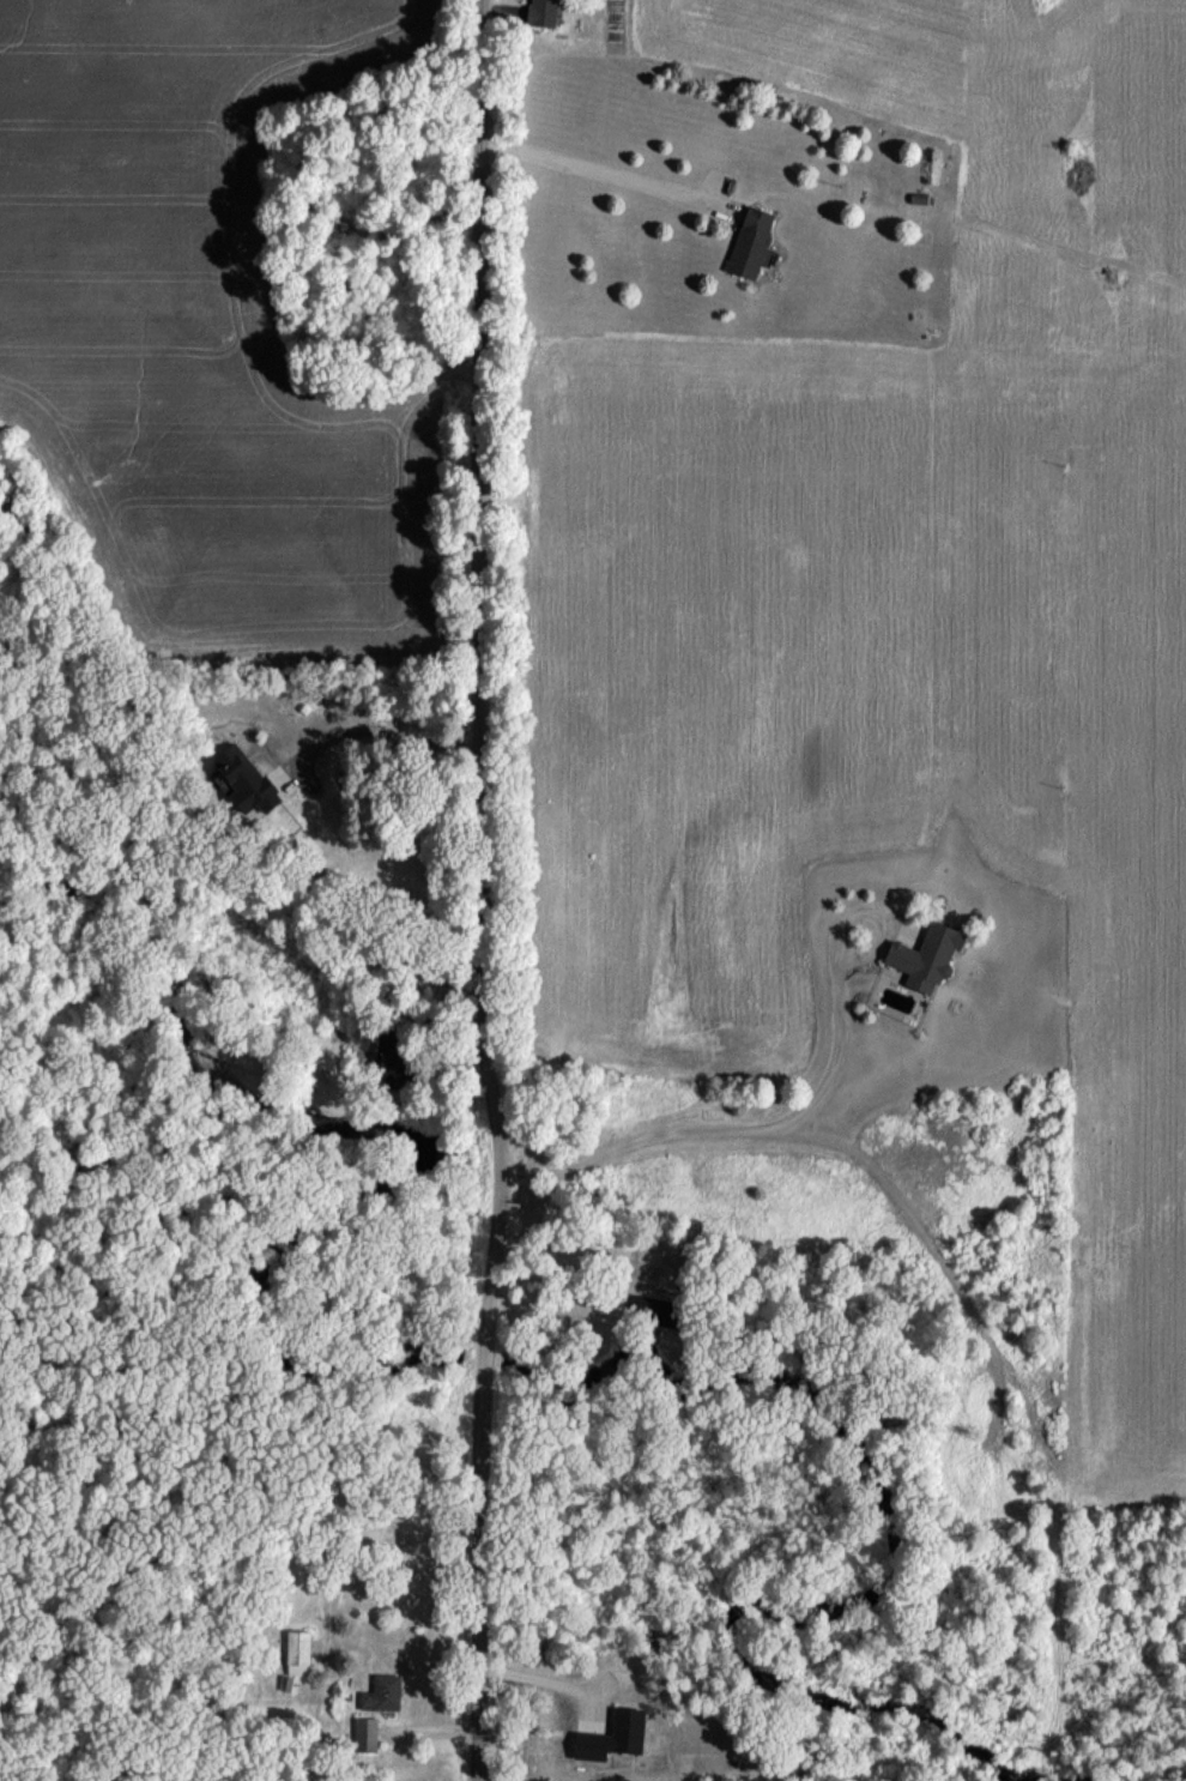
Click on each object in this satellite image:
building: (540, 16)
road: (600, 177)
building: (745, 250)
road: (476, 892)
building: (921, 965)
road: (804, 1109)
building: (654, 1316)
building: (295, 1658)
building: (381, 1700)
building: (363, 1740)

